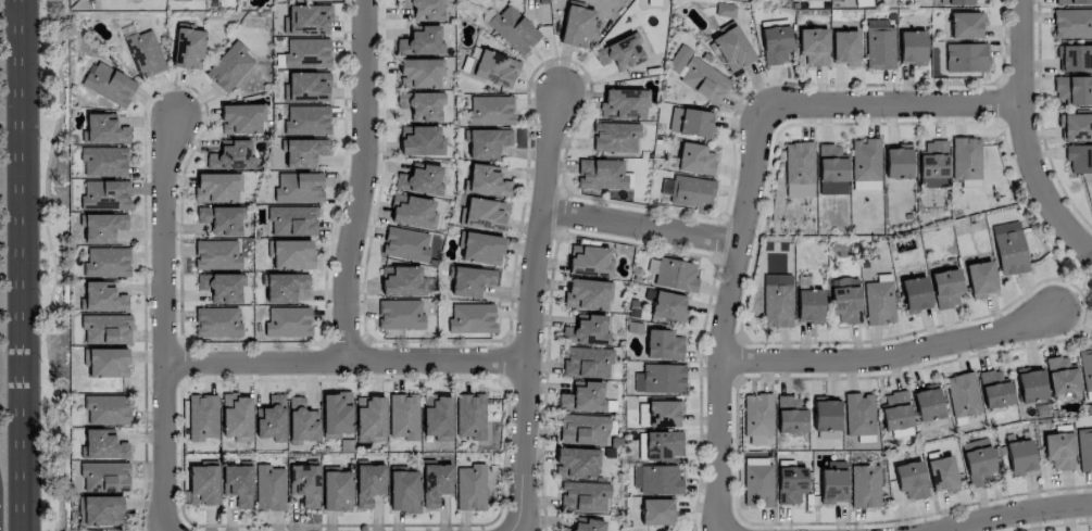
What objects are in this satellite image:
building: (181, 0)
building: (956, 1)
building: (1072, 1)
building: (424, 9)
building: (307, 18)
building: (1072, 23)
building: (576, 25)
building: (966, 25)
building: (513, 29)
building: (422, 41)
building: (775, 43)
building: (879, 45)
building: (813, 46)
building: (912, 47)
building: (188, 48)
building: (731, 48)
building: (844, 48)
building: (143, 52)
building: (622, 52)
building: (301, 53)
building: (965, 58)
building: (1075, 58)
building: (229, 66)
building: (494, 68)
building: (419, 73)
building: (696, 75)
building: (108, 84)
building: (306, 86)
building: (1072, 90)
road: (893, 99)
building: (623, 103)
building: (421, 105)
building: (490, 110)
building: (240, 118)
building: (306, 119)
building: (694, 123)
building: (1075, 127)
building: (103, 129)
building: (614, 137)
road: (1024, 138)
building: (421, 140)
building: (487, 142)
building: (300, 152)
building: (230, 155)
building: (694, 159)
building: (965, 159)
building: (1079, 159)
building: (103, 161)
building: (896, 162)
building: (831, 164)
building: (865, 164)
building: (932, 164)
building: (799, 169)
building: (600, 174)
building: (421, 179)
road: (360, 180)
building: (486, 180)
building: (215, 187)
building: (298, 188)
building: (688, 191)
building: (104, 194)
building: (411, 211)
building: (485, 214)
building: (221, 219)
building: (291, 220)
road: (642, 226)
building: (102, 227)
building: (404, 243)
building: (480, 248)
building: (1008, 248)
building: (291, 254)
building: (215, 255)
building: (589, 261)
building: (106, 262)
road: (52, 264)
road: (17, 265)
building: (671, 274)
building: (980, 279)
building: (470, 280)
building: (402, 281)
building: (221, 287)
building: (284, 287)
building: (945, 288)
building: (914, 293)
building: (587, 294)
building: (101, 296)
building: (776, 301)
building: (878, 302)
road: (534, 304)
building: (845, 304)
building: (667, 306)
building: (808, 306)
road: (727, 313)
building: (399, 315)
road: (165, 318)
building: (470, 318)
building: (216, 321)
building: (287, 321)
building: (105, 329)
building: (586, 330)
building: (663, 344)
road: (895, 357)
road: (347, 359)
building: (586, 362)
building: (106, 363)
building: (1085, 368)
building: (1059, 375)
building: (660, 378)
building: (1030, 384)
building: (994, 389)
building: (962, 394)
building: (582, 396)
building: (927, 404)
building: (105, 409)
building: (894, 410)
building: (335, 414)
building: (663, 414)
building: (825, 414)
building: (858, 414)
building: (790, 415)
building: (403, 416)
building: (437, 416)
building: (469, 416)
building: (202, 417)
building: (236, 417)
building: (369, 417)
building: (756, 417)
building: (271, 419)
building: (300, 421)
building: (582, 429)
building: (100, 444)
building: (662, 445)
building: (1084, 448)
building: (1058, 450)
building: (1019, 457)
building: (977, 462)
building: (576, 463)
building: (941, 473)
building: (102, 477)
building: (656, 480)
building: (911, 480)
building: (237, 482)
building: (832, 482)
building: (303, 483)
building: (368, 483)
building: (435, 483)
building: (790, 484)
building: (202, 485)
building: (757, 485)
building: (864, 485)
building: (469, 486)
building: (269, 488)
building: (403, 489)
building: (336, 491)
building: (583, 496)
building: (99, 510)
building: (656, 511)
road: (1016, 516)
building: (587, 524)

